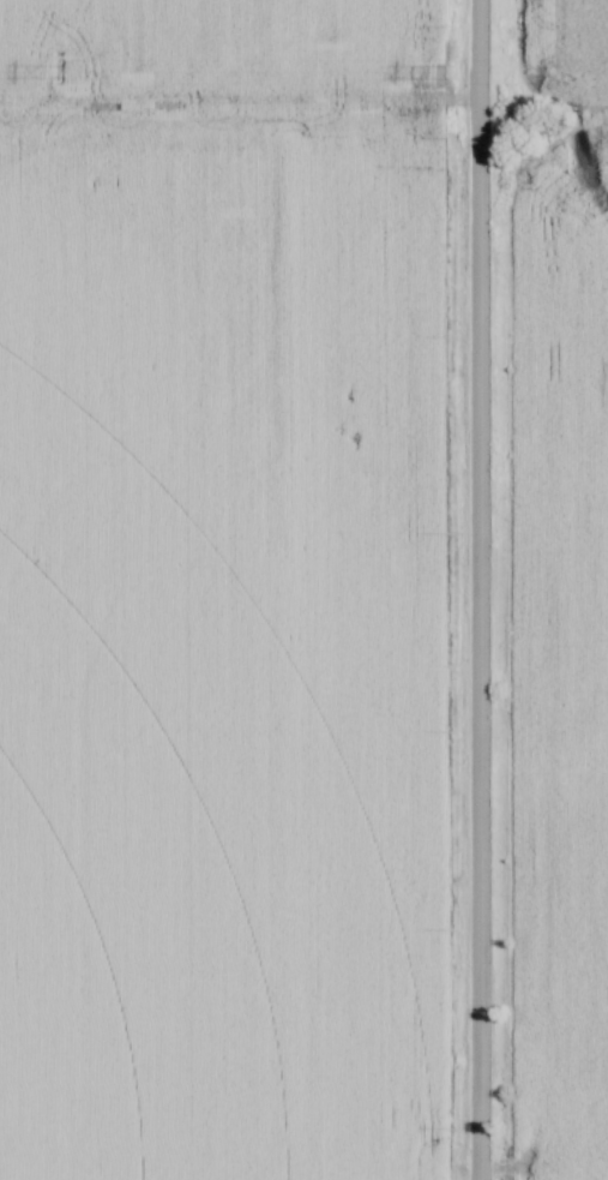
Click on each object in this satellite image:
power tower: (62, 73)
power tower: (451, 73)
road: (481, 589)

